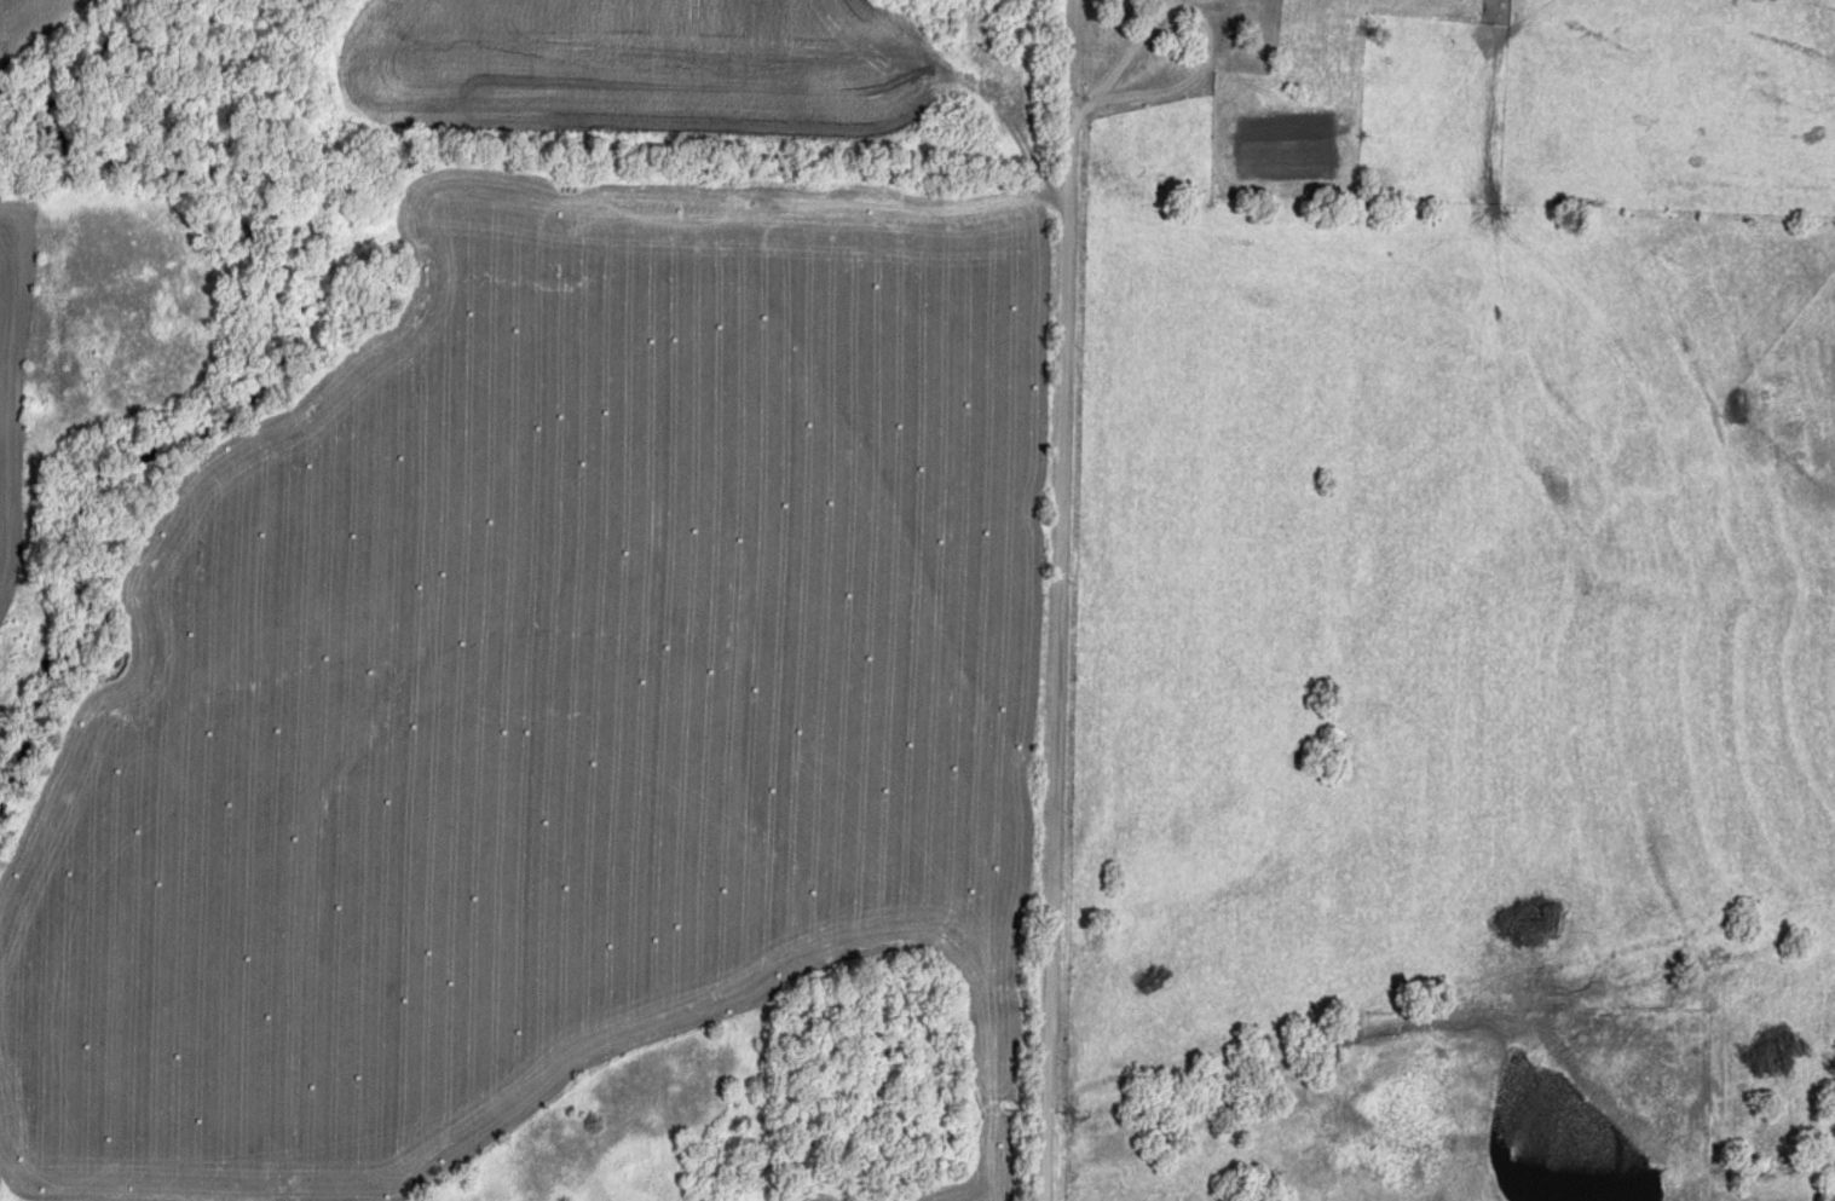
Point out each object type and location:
road: (1195, 23)
road: (1061, 645)

